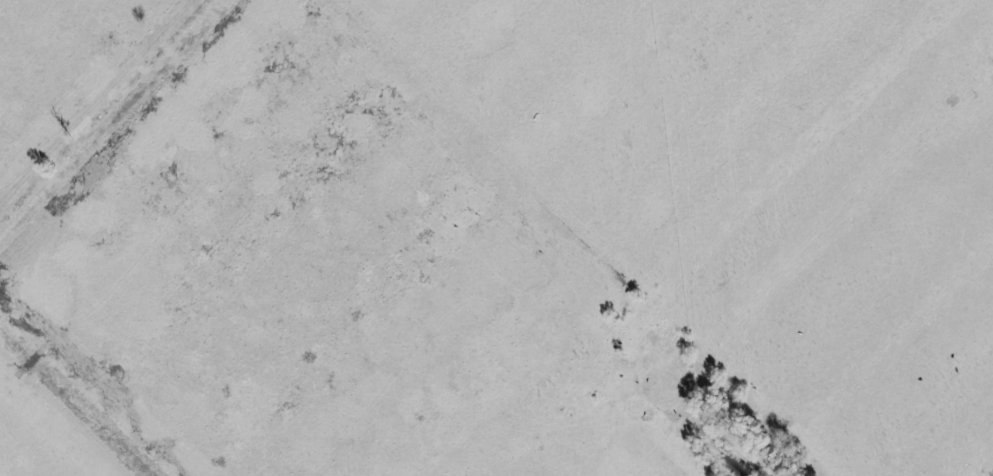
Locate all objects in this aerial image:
road: (100, 108)

